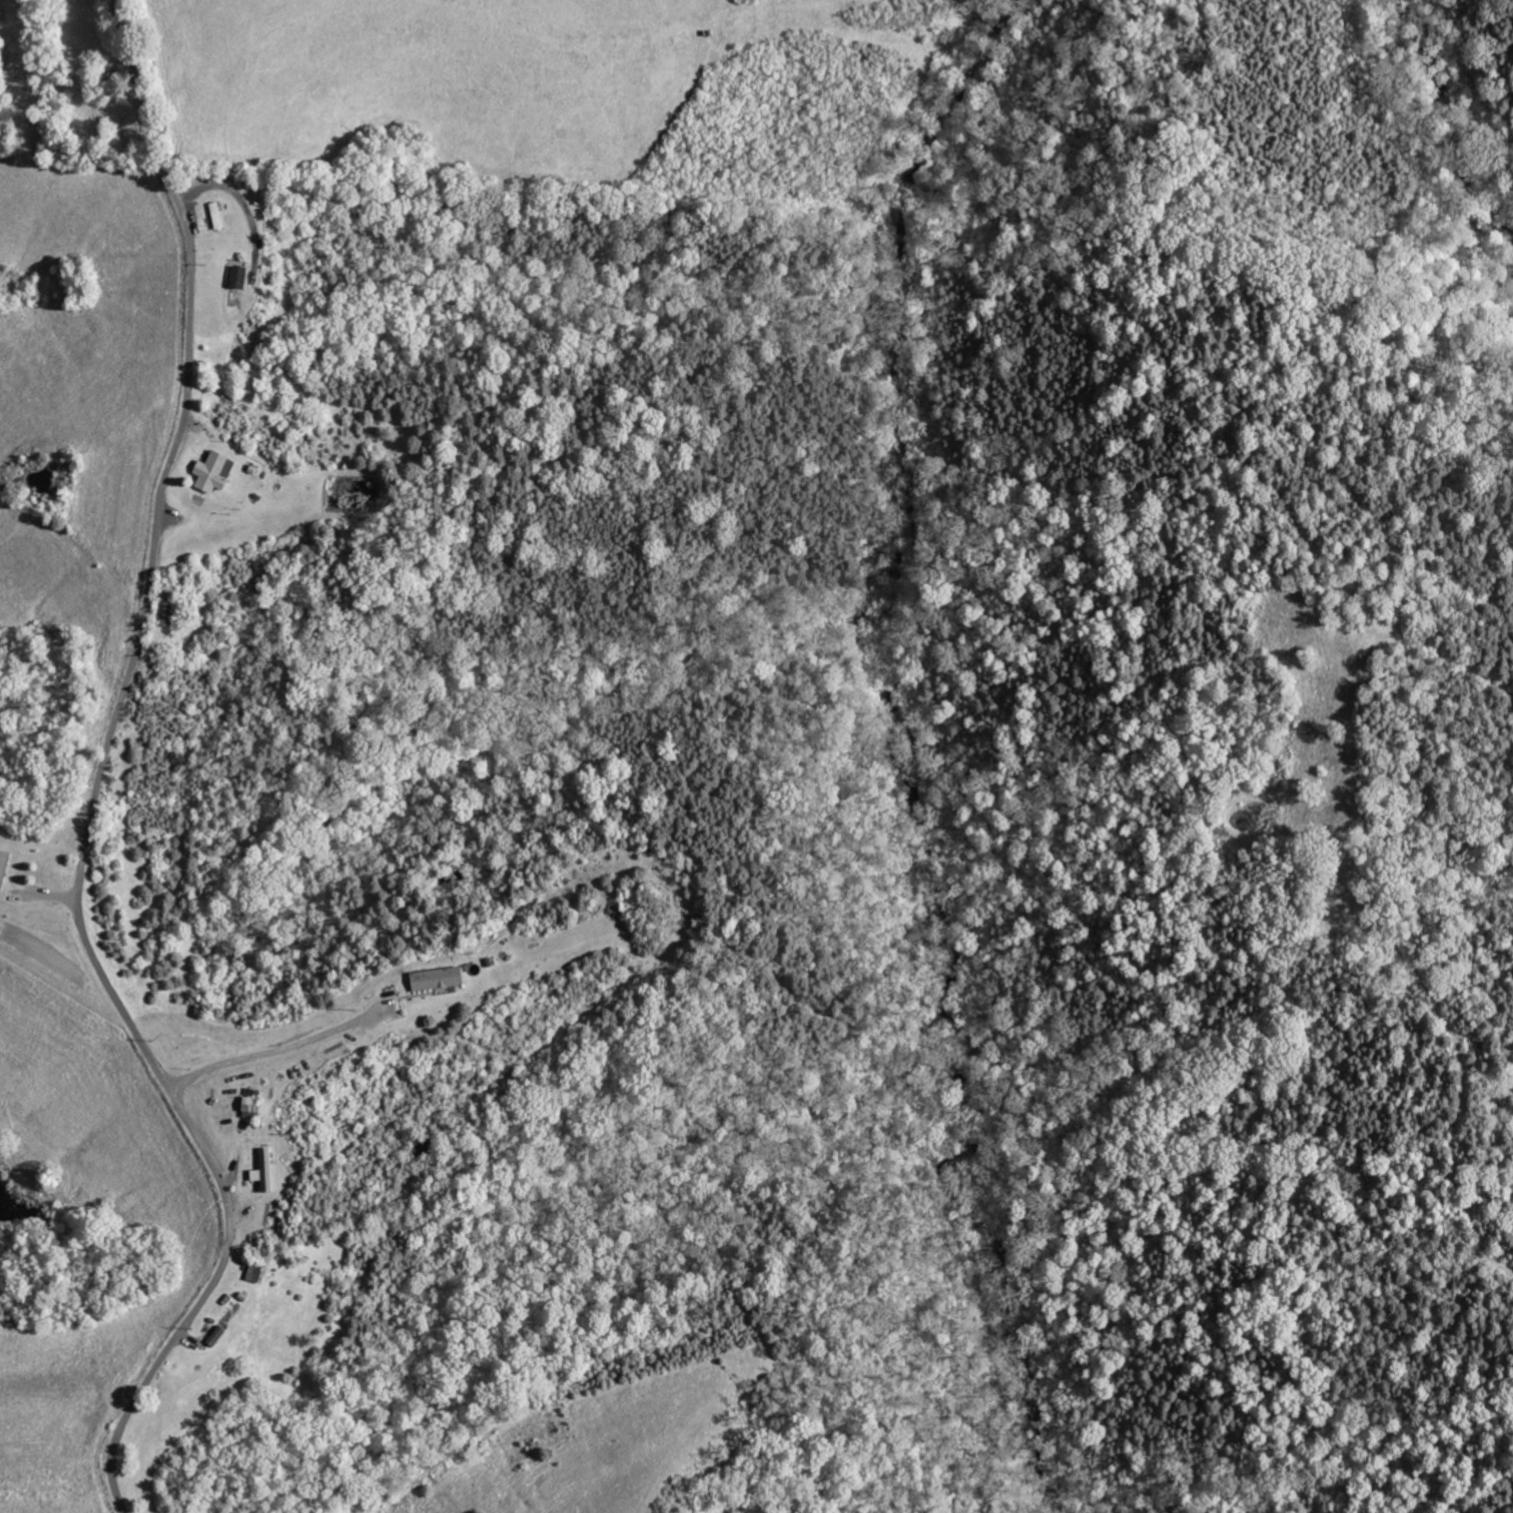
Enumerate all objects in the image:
road: (161, 160)
road: (239, 201)
building: (218, 216)
building: (218, 470)
building: (5, 868)
road: (89, 944)
building: (441, 977)
road: (278, 1047)
building: (270, 1169)

